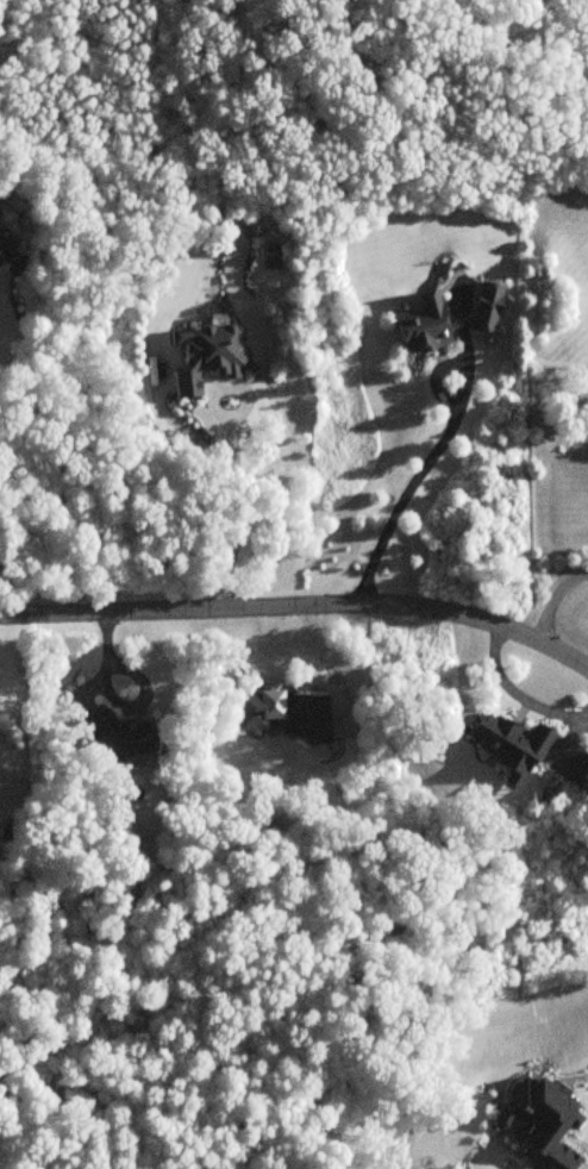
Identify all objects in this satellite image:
building: (5, 248)
building: (486, 310)
building: (427, 325)
building: (208, 356)
road: (434, 449)
road: (233, 460)
road: (552, 595)
road: (300, 600)
road: (514, 689)
building: (287, 711)
building: (126, 732)
road: (570, 734)
building: (512, 742)
building: (578, 769)
building: (544, 1124)

